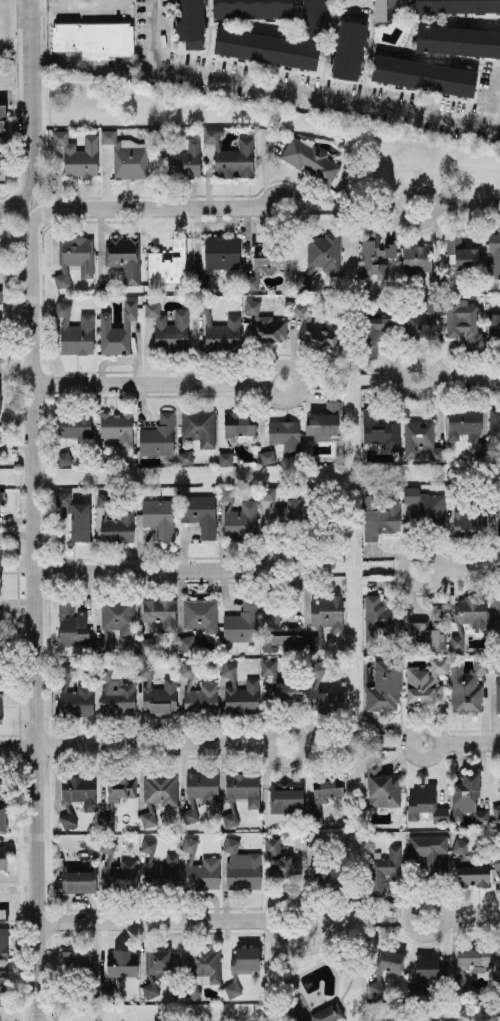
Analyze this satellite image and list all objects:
road: (75, 2)
building: (456, 5)
road: (351, 7)
building: (251, 8)
building: (379, 13)
building: (315, 15)
building: (189, 19)
building: (94, 39)
building: (457, 39)
building: (265, 47)
building: (348, 48)
building: (423, 75)
road: (294, 90)
road: (494, 92)
road: (15, 94)
road: (29, 97)
building: (2, 143)
building: (77, 154)
building: (126, 155)
building: (230, 155)
building: (185, 159)
building: (310, 159)
road: (293, 204)
road: (16, 205)
road: (434, 205)
road: (467, 205)
road: (152, 206)
building: (461, 252)
building: (219, 253)
building: (375, 255)
building: (493, 255)
building: (123, 256)
building: (74, 257)
building: (320, 257)
building: (416, 258)
building: (167, 264)
building: (263, 265)
building: (0, 295)
building: (422, 316)
building: (463, 322)
building: (264, 323)
building: (168, 328)
building: (314, 329)
building: (494, 329)
building: (117, 330)
building: (219, 330)
building: (75, 331)
building: (373, 333)
building: (1, 354)
road: (296, 379)
road: (432, 380)
road: (466, 380)
road: (149, 381)
building: (323, 421)
building: (239, 423)
building: (494, 424)
building: (75, 425)
building: (198, 426)
building: (117, 427)
building: (465, 428)
building: (379, 429)
building: (1, 433)
building: (285, 434)
building: (157, 435)
building: (421, 441)
building: (185, 456)
building: (266, 456)
building: (225, 457)
building: (227, 493)
building: (1, 497)
building: (424, 505)
building: (281, 509)
building: (199, 513)
building: (75, 515)
building: (157, 516)
building: (379, 517)
building: (115, 520)
building: (240, 520)
building: (468, 521)
building: (498, 528)
building: (0, 556)
road: (435, 565)
road: (468, 565)
road: (298, 568)
road: (151, 569)
building: (0, 590)
road: (34, 612)
building: (160, 612)
building: (326, 612)
building: (200, 614)
building: (118, 615)
building: (495, 615)
building: (467, 617)
building: (242, 621)
building: (71, 624)
building: (430, 629)
building: (279, 632)
building: (102, 642)
building: (313, 642)
building: (186, 643)
building: (145, 644)
building: (268, 667)
building: (318, 667)
building: (187, 669)
building: (425, 681)
building: (384, 685)
building: (466, 685)
building: (287, 691)
building: (115, 692)
building: (239, 692)
building: (497, 693)
building: (157, 694)
building: (201, 698)
building: (77, 700)
building: (325, 700)
building: (0, 705)
road: (436, 740)
road: (468, 740)
road: (299, 743)
road: (134, 744)
building: (499, 782)
building: (202, 786)
building: (381, 786)
building: (78, 790)
building: (118, 791)
building: (238, 791)
building: (2, 794)
building: (156, 794)
building: (499, 794)
building: (467, 796)
building: (287, 798)
building: (322, 798)
building: (425, 803)
building: (496, 810)
building: (2, 819)
building: (67, 819)
building: (148, 844)
building: (189, 844)
building: (107, 845)
building: (459, 845)
building: (429, 850)
building: (3, 856)
building: (496, 857)
building: (281, 859)
building: (241, 866)
building: (383, 868)
building: (162, 871)
building: (120, 873)
building: (203, 874)
building: (472, 875)
building: (77, 877)
building: (2, 912)
road: (441, 915)
road: (471, 916)
road: (303, 918)
road: (150, 920)
building: (3, 943)
building: (472, 955)
building: (499, 958)
building: (74, 959)
building: (390, 960)
building: (157, 962)
building: (121, 963)
building: (241, 966)
building: (430, 967)
building: (3, 985)
building: (375, 986)
building: (418, 988)
building: (108, 989)
building: (149, 989)
road: (309, 992)
building: (293, 1011)
building: (327, 1012)

